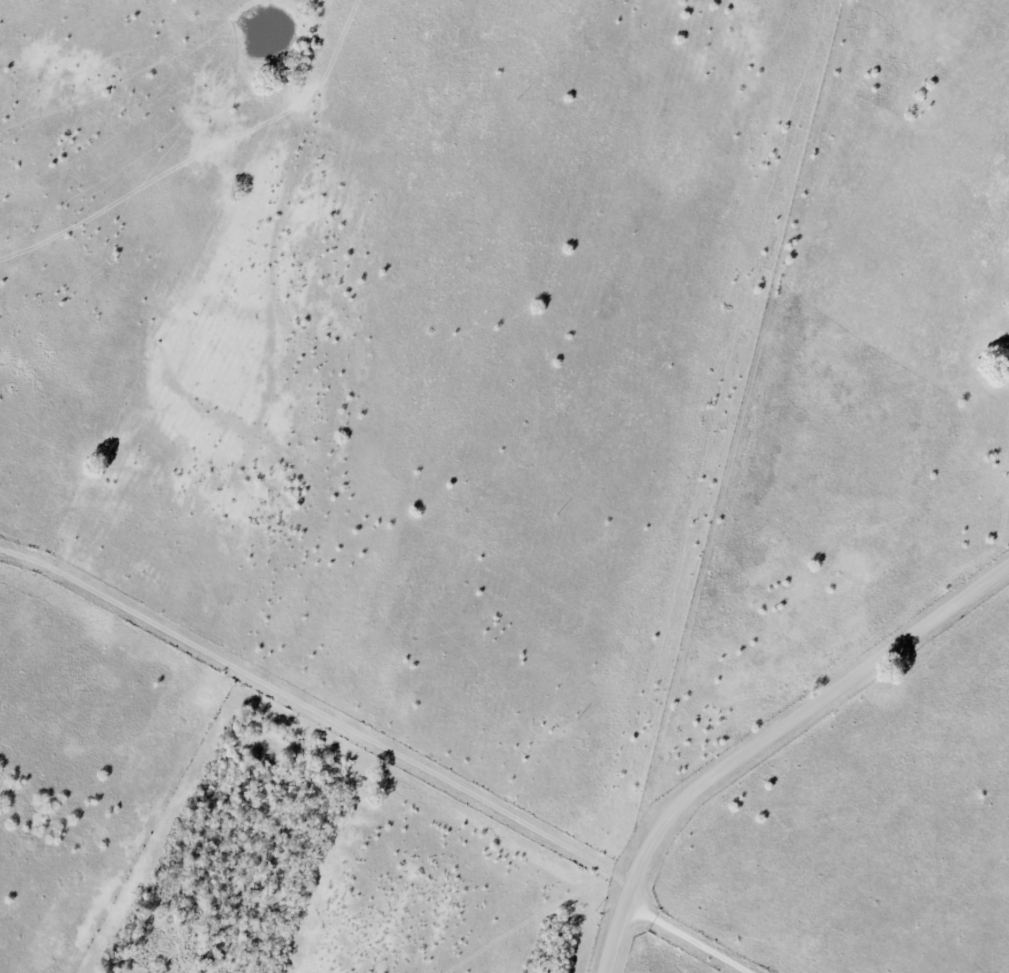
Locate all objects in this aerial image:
road: (737, 447)
road: (766, 737)
road: (688, 934)

